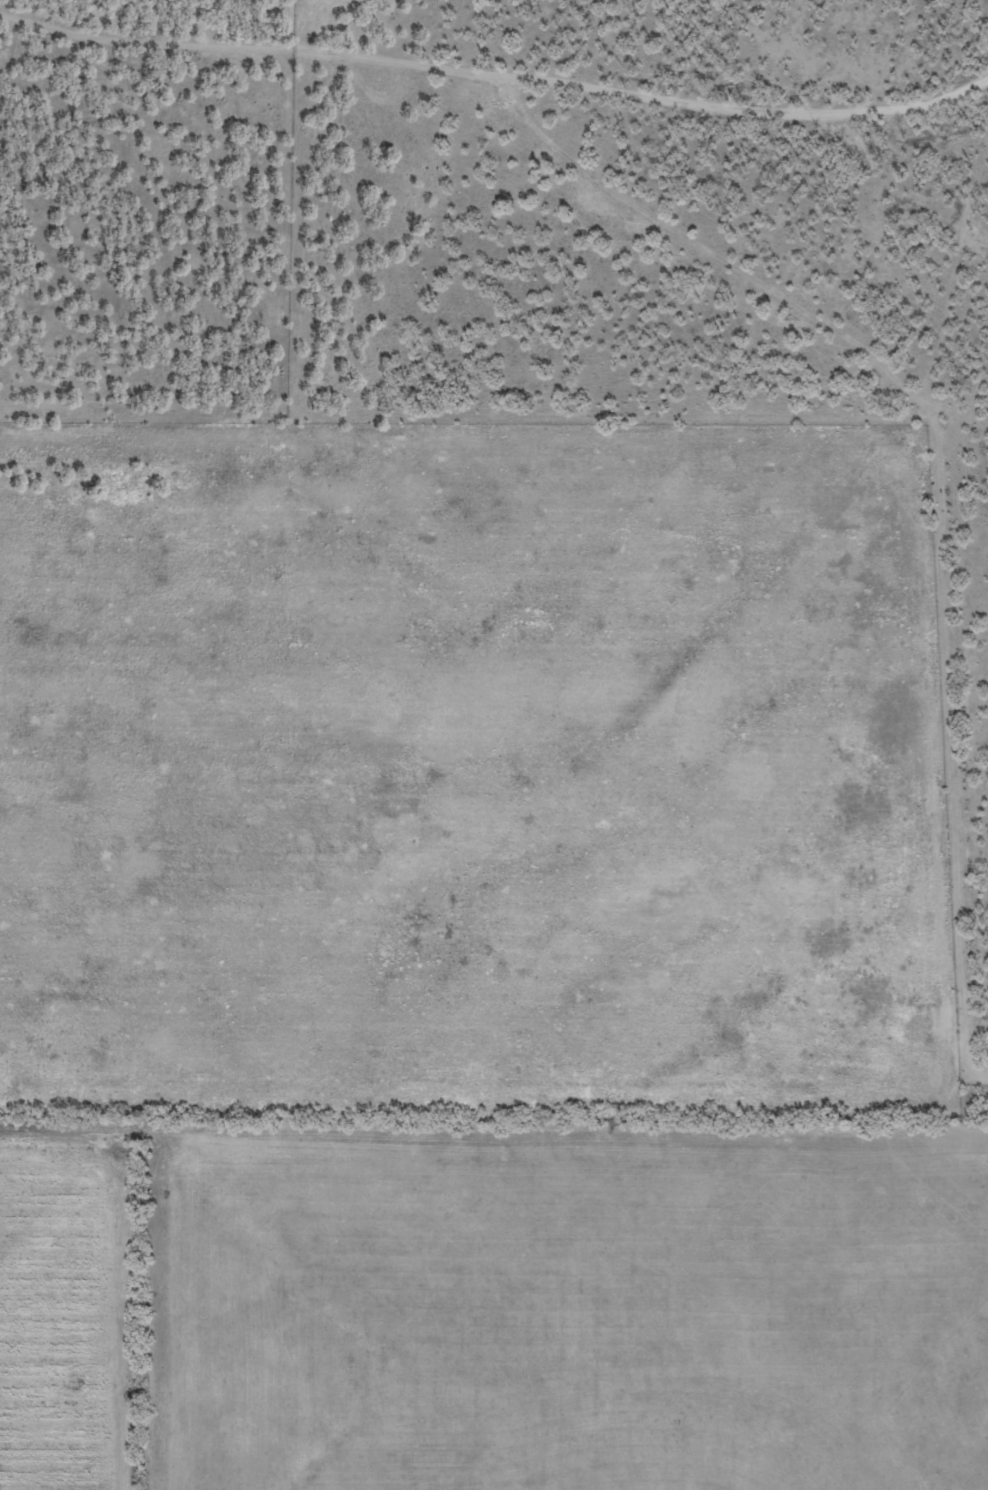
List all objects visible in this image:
road: (495, 74)

